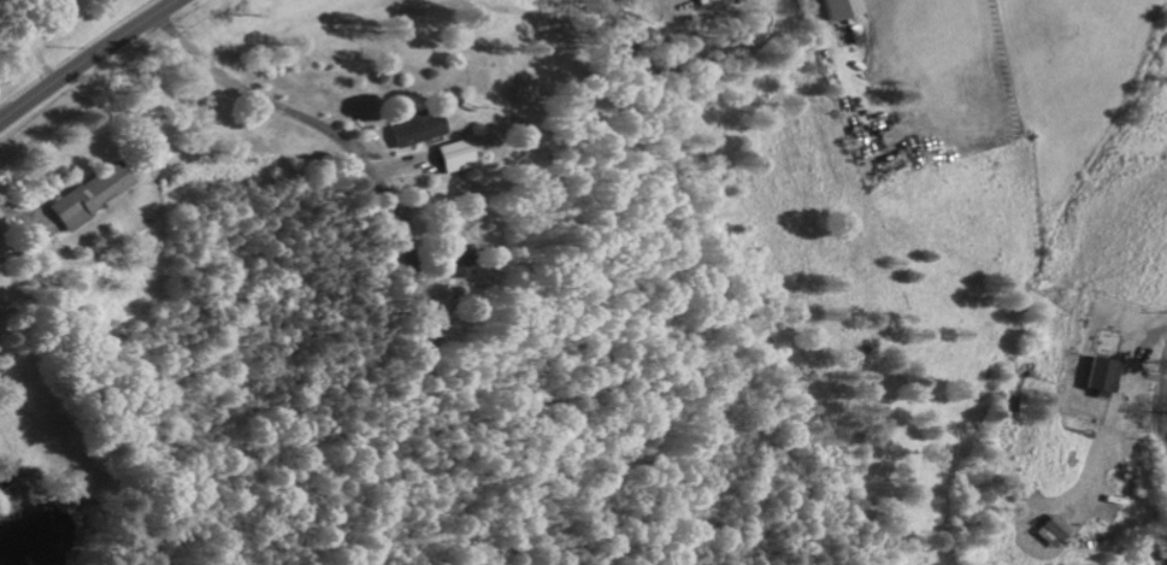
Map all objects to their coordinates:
building: (836, 8)
road: (87, 59)
road: (257, 98)
building: (409, 129)
building: (446, 157)
building: (86, 196)
building: (450, 263)
building: (1098, 376)
road: (1162, 412)
building: (1047, 532)

